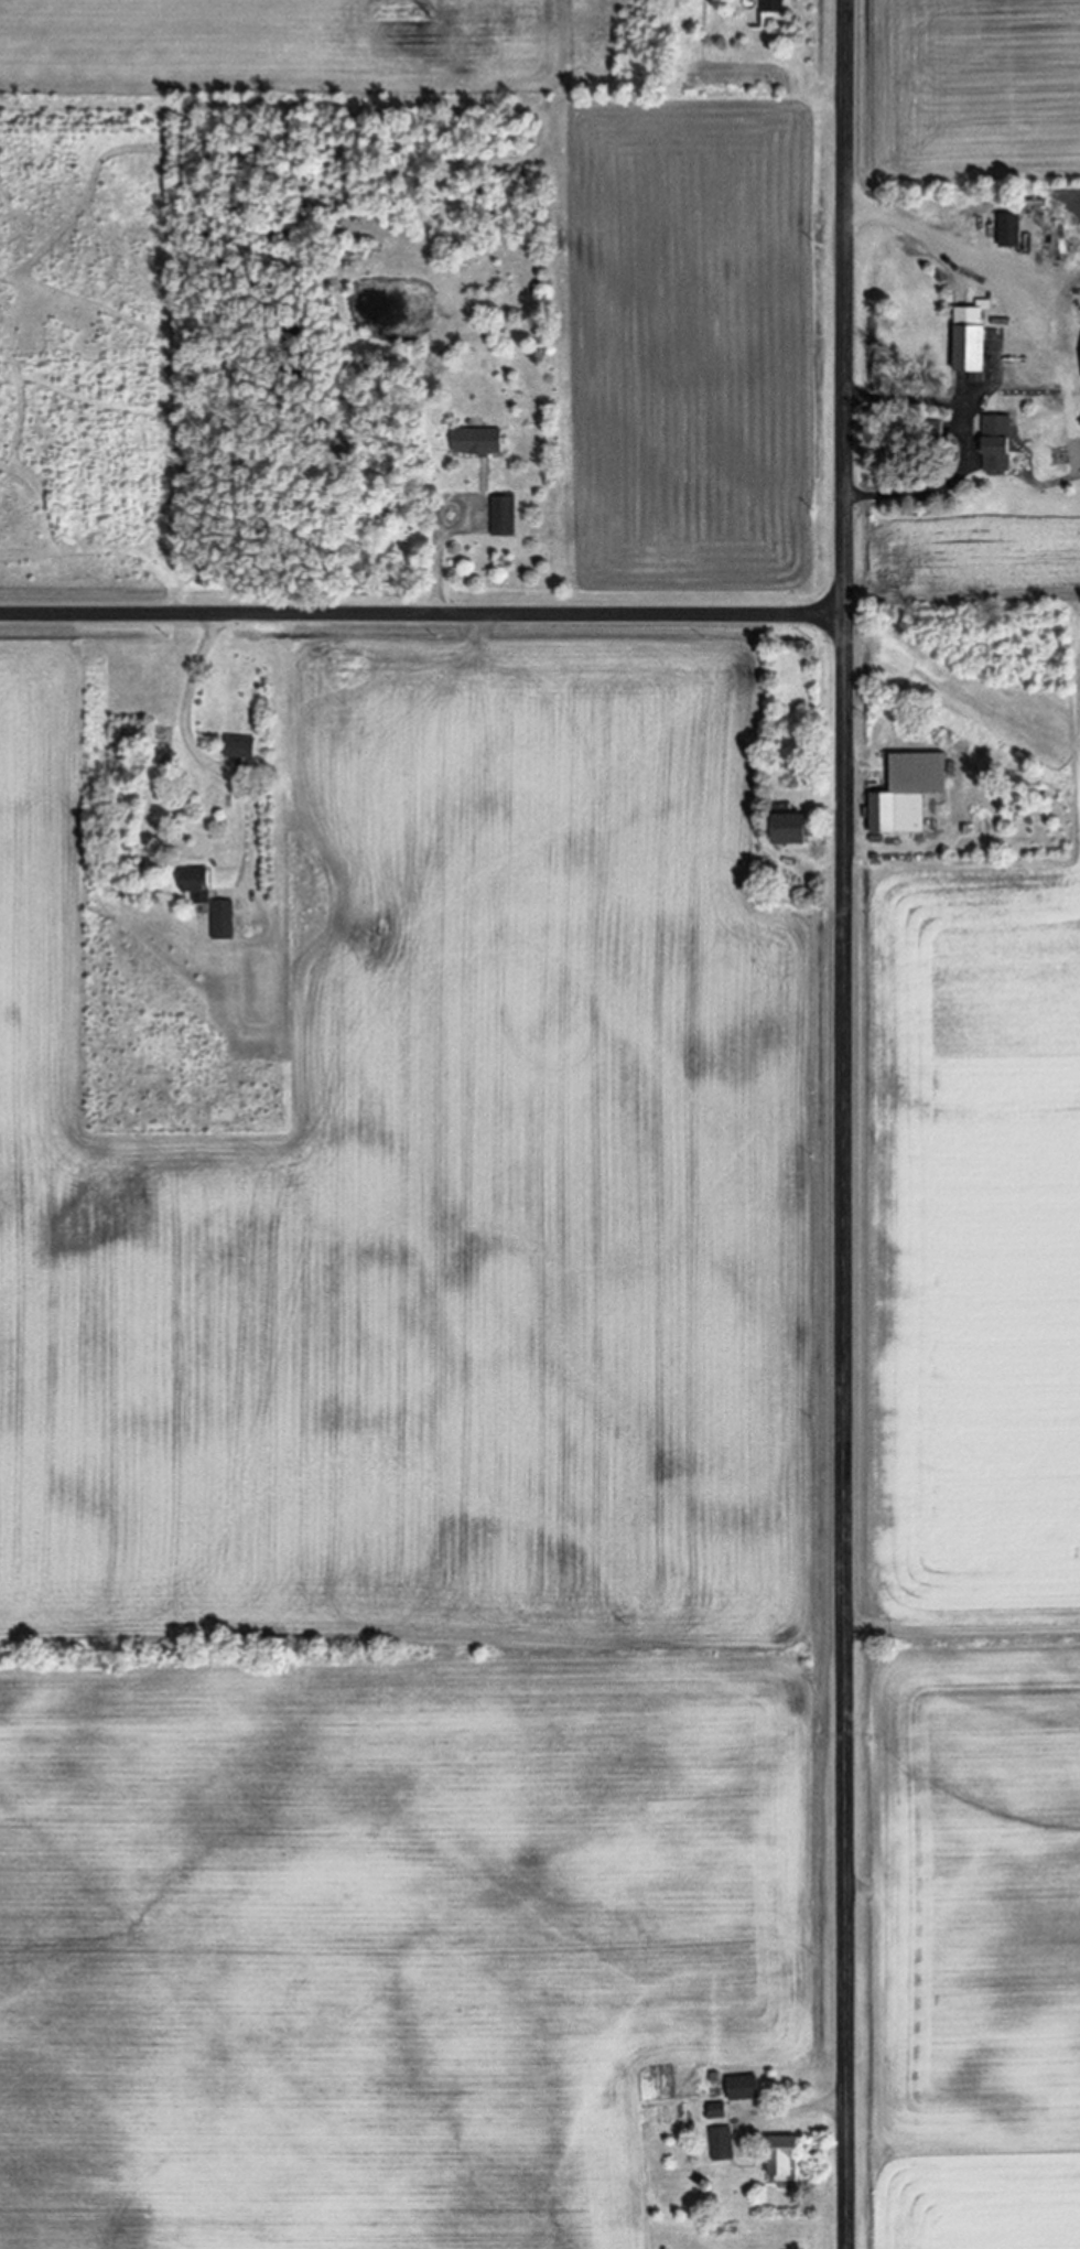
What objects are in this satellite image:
building: (773, 6)
building: (1009, 229)
road: (928, 245)
building: (970, 336)
building: (476, 441)
building: (995, 443)
road: (966, 446)
building: (503, 516)
road: (441, 575)
road: (962, 600)
road: (422, 614)
building: (239, 746)
road: (207, 758)
building: (907, 793)
building: (789, 828)
building: (195, 883)
building: (222, 919)
road: (845, 1123)
road: (962, 1633)
building: (743, 2087)
road: (803, 2108)
building: (716, 2110)
building: (722, 2143)
building: (782, 2157)

